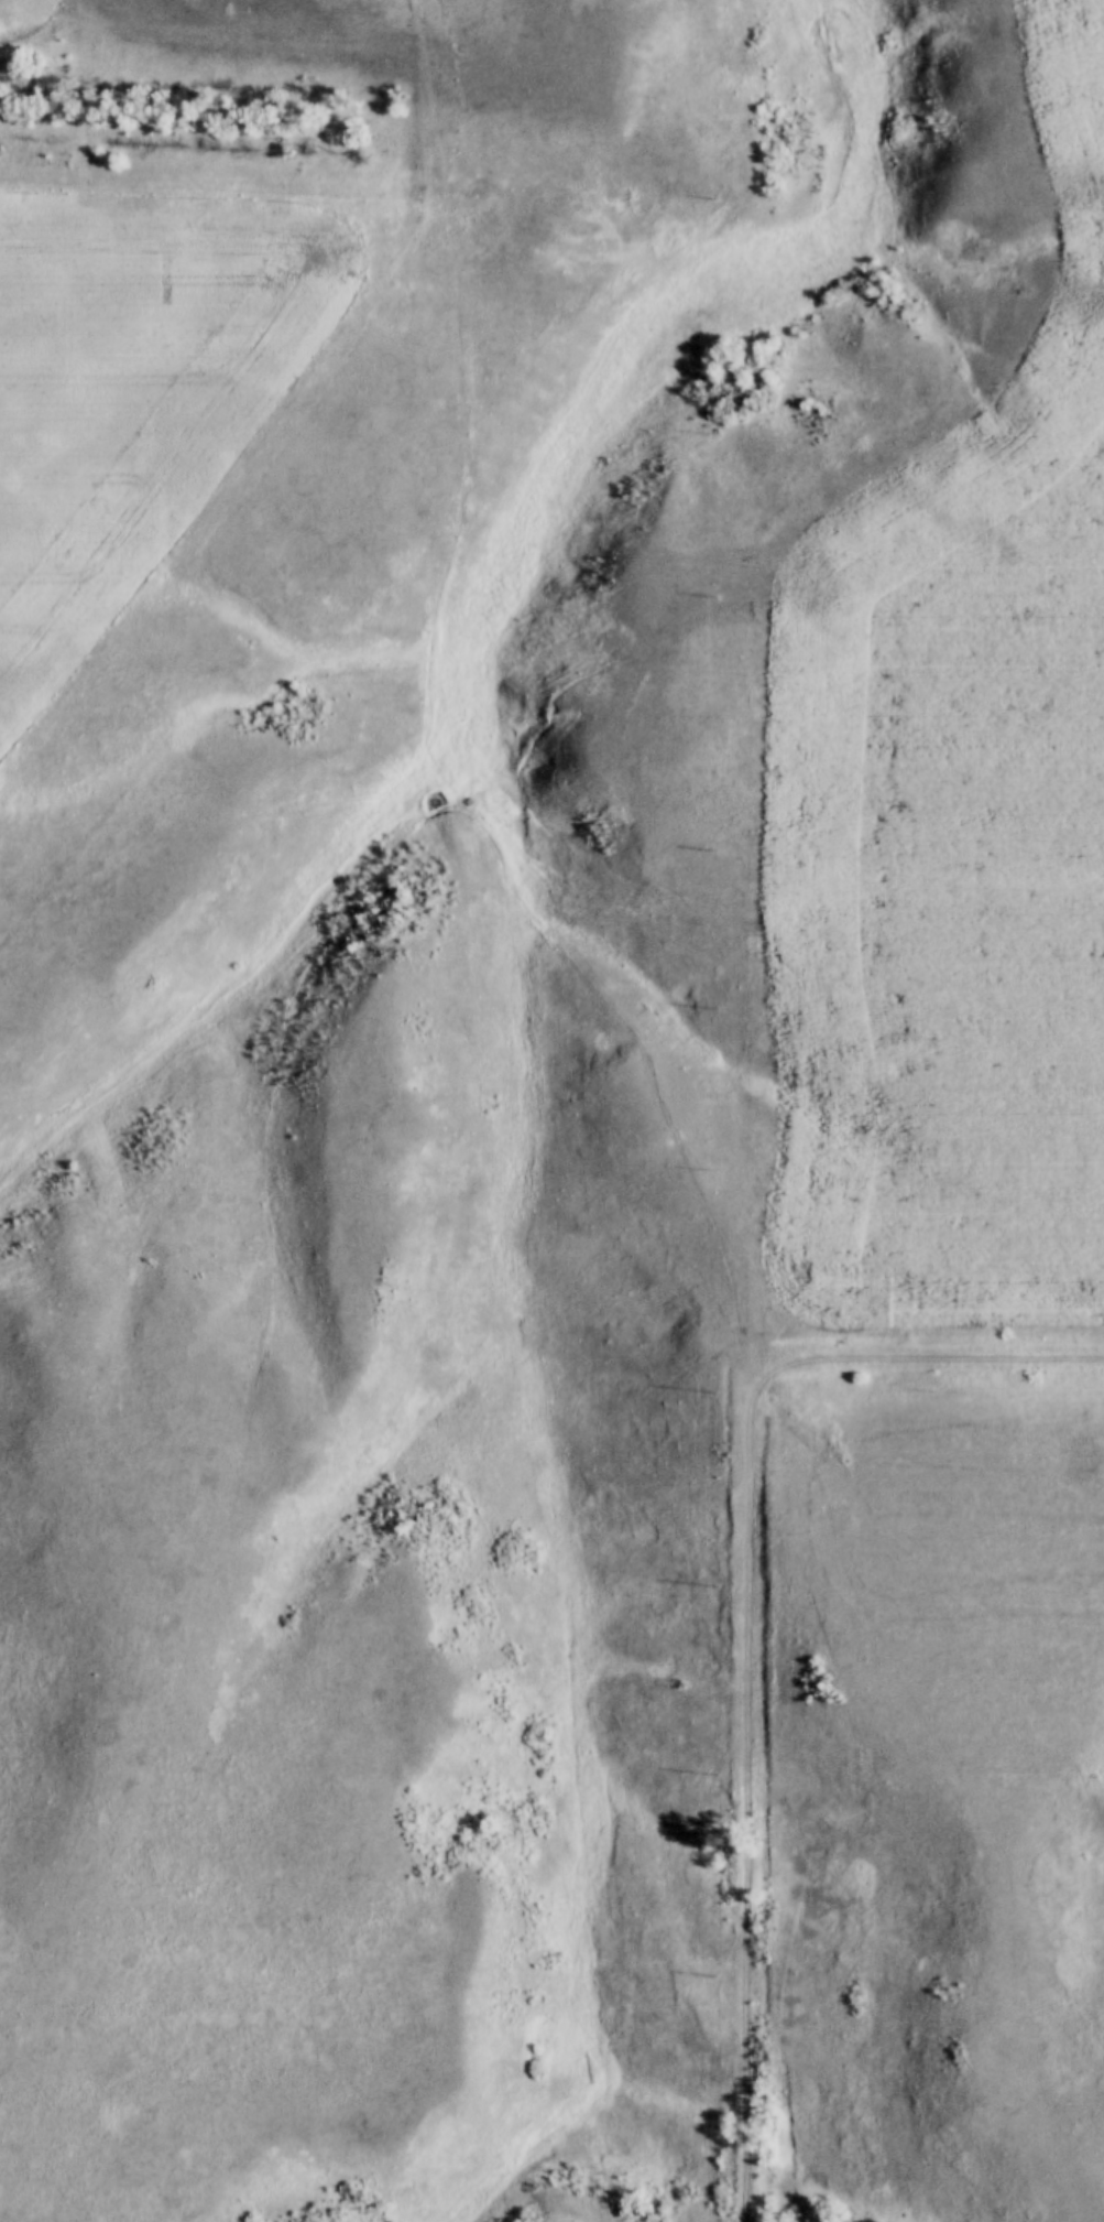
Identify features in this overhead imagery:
road: (744, 1623)

